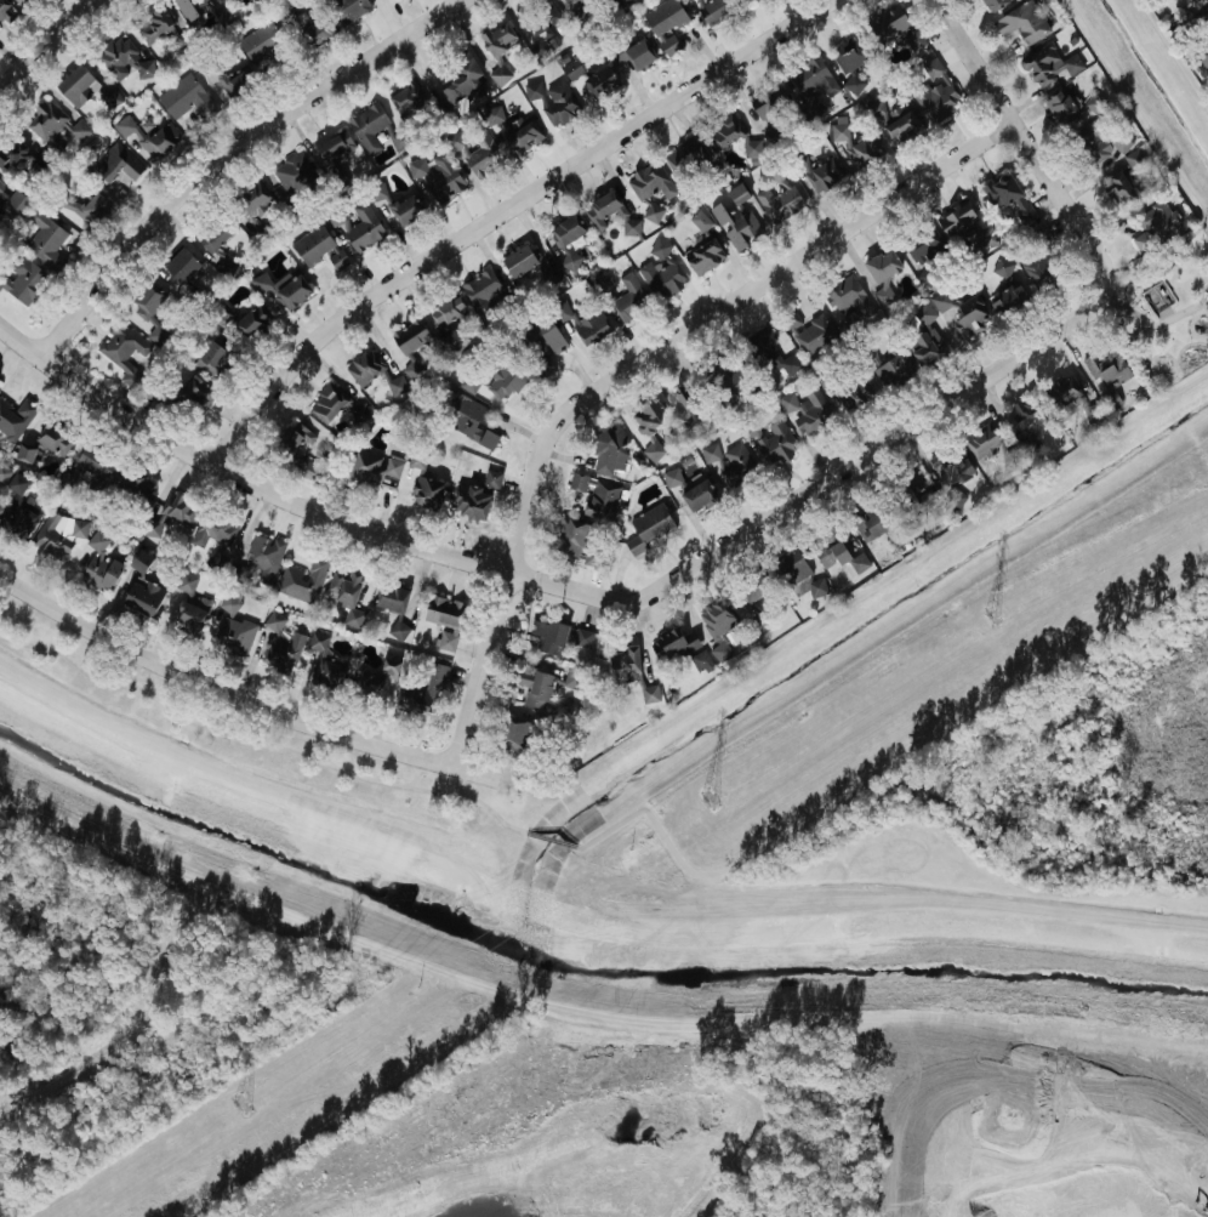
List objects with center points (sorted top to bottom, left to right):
building: (257, 0)
building: (19, 1)
building: (746, 1)
building: (622, 2)
building: (993, 4)
building: (193, 7)
building: (347, 8)
building: (4, 10)
building: (713, 11)
building: (577, 12)
building: (663, 17)
building: (1021, 22)
building: (1202, 22)
building: (153, 24)
building: (536, 24)
building: (318, 30)
building: (898, 30)
building: (497, 39)
building: (256, 41)
road: (52, 49)
building: (633, 55)
building: (844, 56)
building: (115, 57)
building: (1204, 59)
building: (1050, 66)
building: (570, 70)
building: (460, 72)
building: (498, 75)
building: (811, 78)
building: (592, 81)
building: (235, 84)
building: (853, 84)
building: (75, 85)
building: (935, 91)
building: (184, 97)
building: (405, 97)
building: (553, 99)
building: (1093, 103)
building: (771, 104)
building: (1061, 108)
building: (491, 114)
building: (893, 119)
building: (46, 123)
building: (367, 126)
building: (837, 127)
building: (723, 130)
building: (522, 133)
building: (148, 137)
road: (1020, 141)
building: (1119, 141)
building: (331, 142)
building: (1095, 143)
building: (861, 153)
building: (11, 154)
building: (685, 154)
road: (237, 155)
building: (477, 157)
building: (41, 158)
building: (1133, 158)
building: (115, 164)
building: (295, 174)
building: (439, 176)
building: (820, 177)
building: (650, 181)
building: (0, 186)
building: (1117, 188)
building: (1007, 197)
building: (777, 198)
building: (1, 199)
building: (13, 200)
building: (252, 201)
building: (78, 209)
building: (397, 209)
road: (508, 209)
building: (610, 211)
building: (650, 212)
building: (736, 220)
building: (699, 221)
building: (1157, 222)
building: (964, 226)
building: (359, 228)
building: (568, 229)
building: (212, 237)
building: (44, 240)
building: (317, 249)
building: (922, 251)
building: (703, 257)
building: (1042, 258)
building: (517, 262)
building: (569, 263)
building: (180, 265)
building: (224, 265)
building: (1002, 266)
building: (660, 272)
building: (881, 274)
building: (23, 280)
building: (260, 283)
building: (482, 286)
building: (291, 292)
building: (848, 296)
building: (148, 298)
building: (629, 298)
building: (1008, 301)
building: (448, 311)
building: (970, 318)
building: (247, 323)
building: (591, 328)
building: (809, 334)
building: (410, 336)
building: (542, 337)
building: (925, 343)
building: (120, 352)
building: (769, 354)
building: (215, 362)
building: (891, 364)
building: (542, 366)
building: (411, 369)
road: (631, 369)
building: (371, 371)
building: (1106, 374)
building: (506, 377)
building: (469, 382)
building: (733, 387)
building: (1065, 392)
building: (855, 393)
building: (194, 396)
building: (326, 404)
building: (690, 409)
building: (1027, 411)
building: (358, 413)
building: (808, 413)
building: (1089, 413)
building: (15, 417)
building: (467, 419)
building: (646, 419)
building: (53, 438)
building: (290, 439)
building: (985, 442)
building: (769, 443)
building: (606, 449)
building: (708, 453)
building: (22, 455)
building: (416, 460)
building: (91, 466)
building: (736, 466)
building: (951, 466)
building: (304, 470)
building: (371, 470)
building: (2, 473)
building: (133, 485)
building: (424, 493)
building: (697, 495)
building: (474, 497)
building: (912, 499)
building: (602, 500)
building: (17, 511)
building: (173, 512)
building: (878, 524)
building: (649, 528)
building: (213, 533)
building: (55, 538)
building: (570, 540)
building: (832, 556)
building: (263, 557)
building: (138, 561)
building: (98, 565)
building: (798, 575)
building: (303, 580)
building: (186, 582)
road: (568, 587)
building: (346, 595)
building: (142, 596)
building: (752, 597)
building: (391, 598)
building: (228, 604)
building: (188, 615)
power tower: (993, 616)
building: (443, 620)
building: (717, 622)
building: (397, 631)
building: (234, 636)
building: (548, 636)
building: (581, 637)
building: (318, 642)
building: (279, 646)
building: (682, 648)
building: (327, 673)
building: (631, 673)
building: (571, 678)
building: (376, 679)
building: (422, 687)
building: (534, 687)
road: (235, 699)
building: (515, 734)
power tower: (706, 796)
river: (580, 968)
power tower: (239, 1104)

